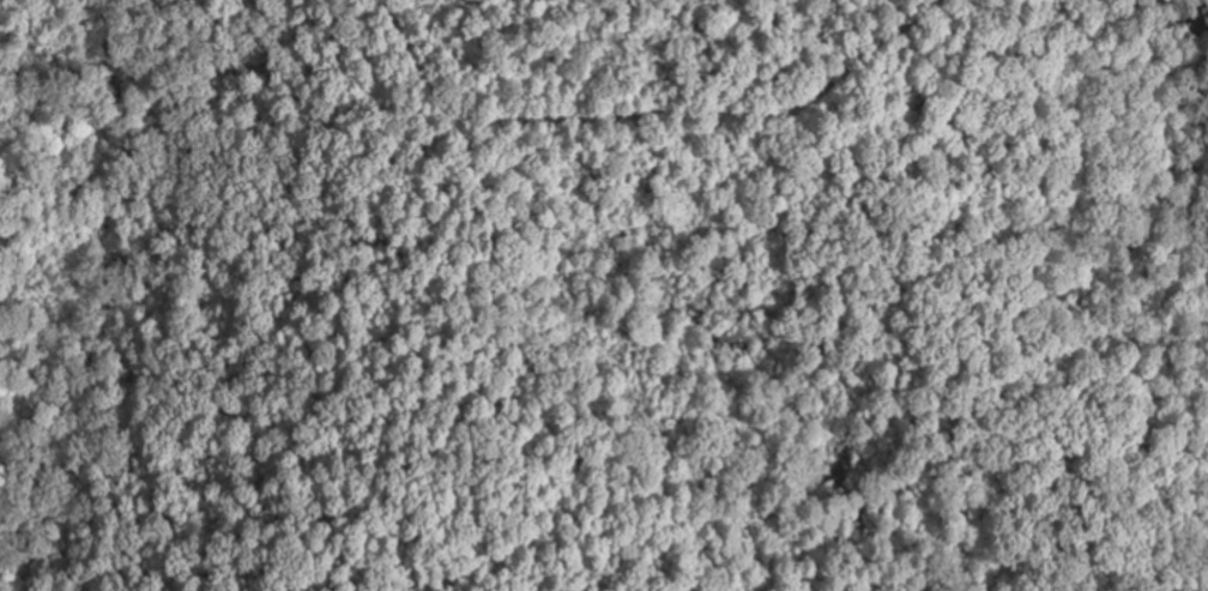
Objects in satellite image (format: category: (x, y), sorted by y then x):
road: (645, 111)
road: (407, 328)
road: (523, 364)
road: (479, 580)

